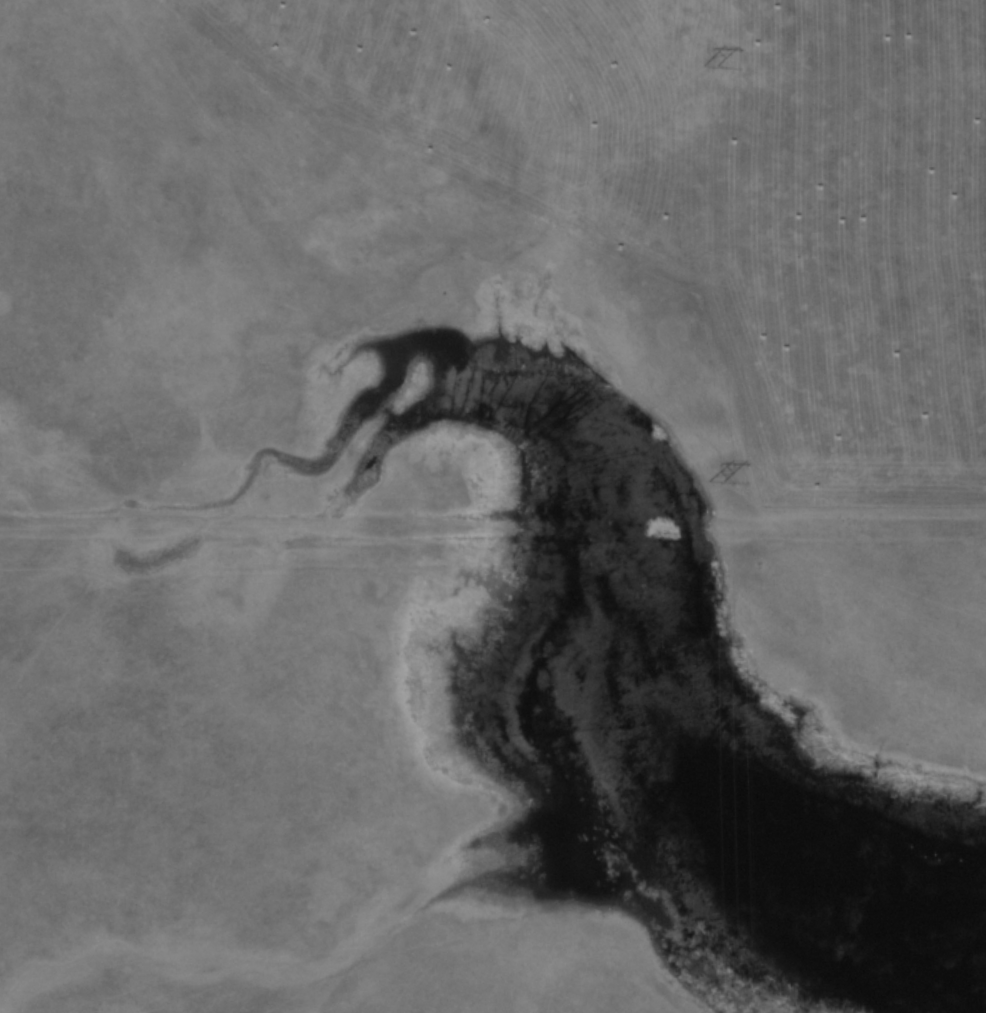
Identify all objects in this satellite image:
power tower: (704, 69)
power tower: (711, 482)

